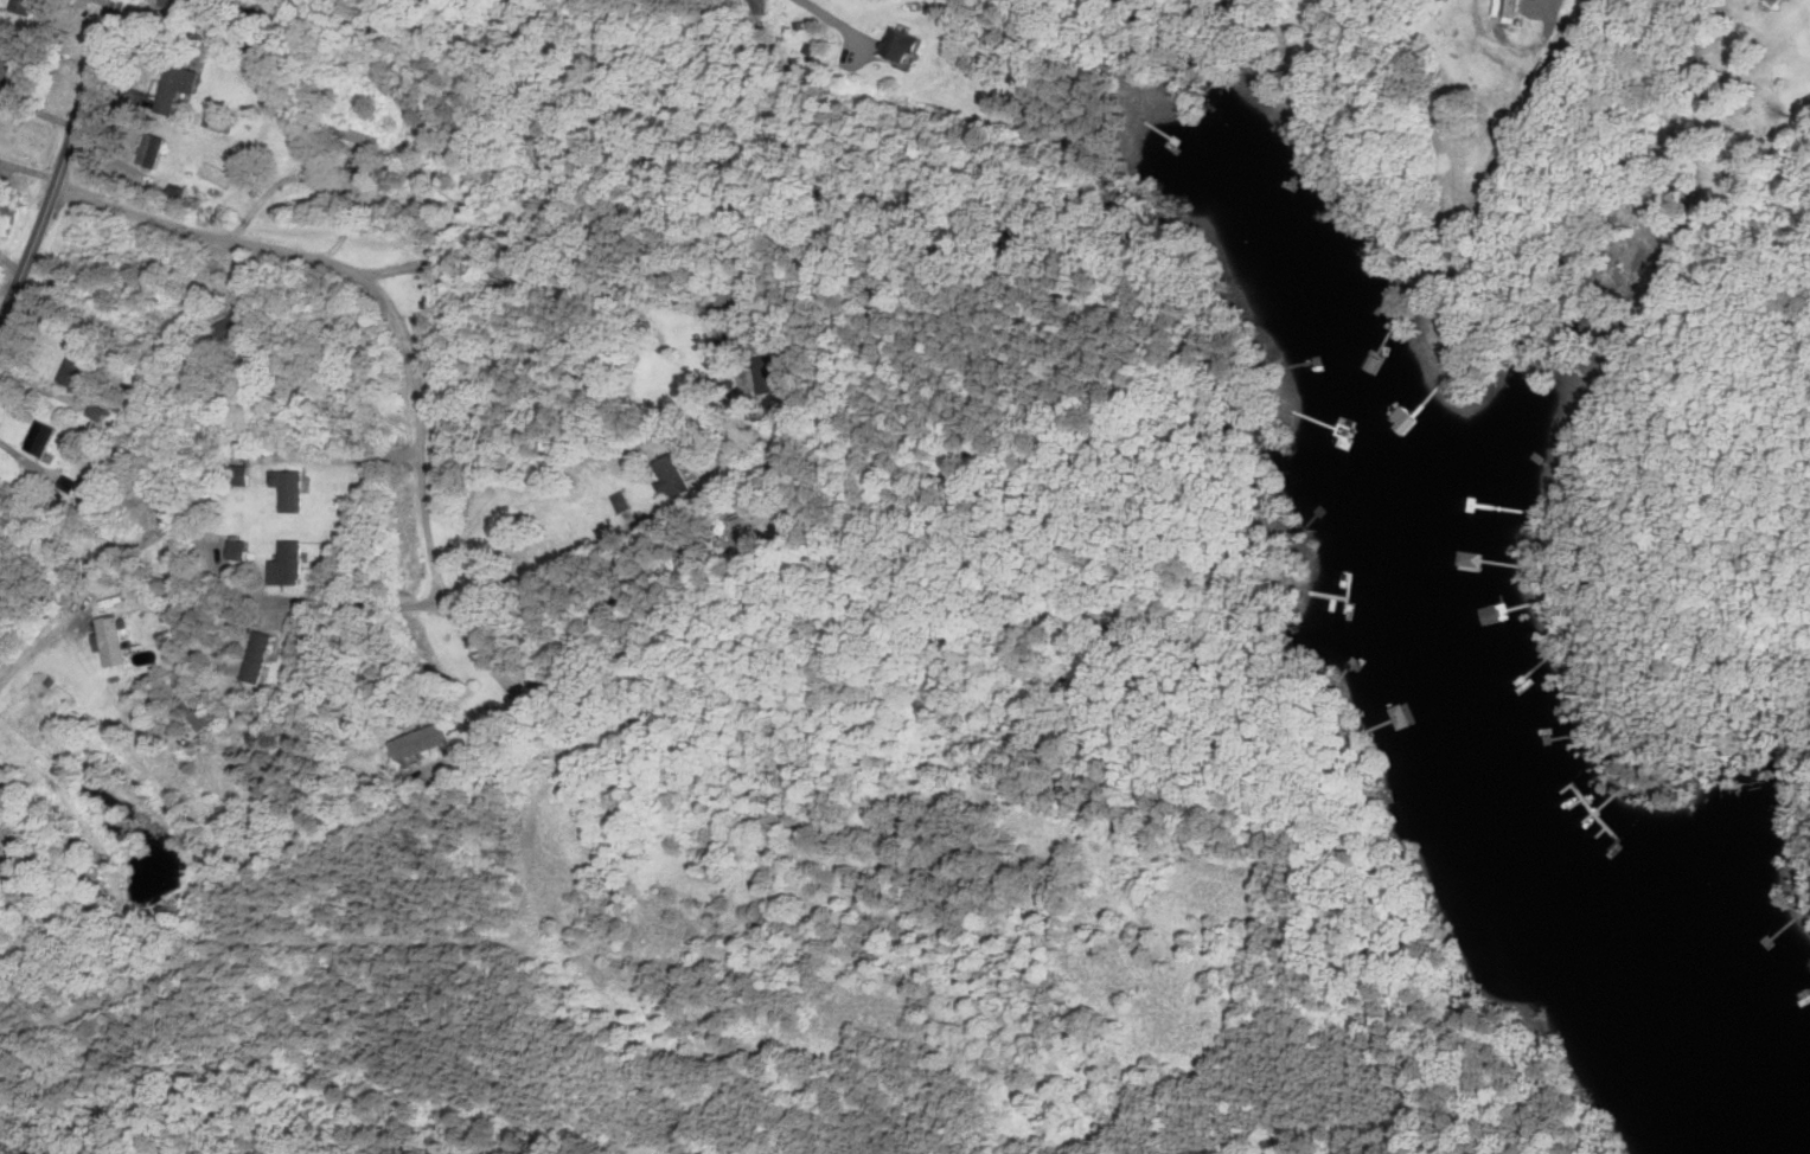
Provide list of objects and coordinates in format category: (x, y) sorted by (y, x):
building: (1770, 2)
building: (28, 7)
building: (1505, 8)
building: (222, 24)
building: (1569, 30)
building: (908, 45)
building: (9, 70)
building: (1541, 81)
building: (183, 88)
building: (222, 123)
building: (362, 137)
building: (156, 150)
road: (64, 167)
road: (312, 171)
building: (180, 197)
road: (545, 275)
building: (239, 326)
road: (404, 338)
building: (77, 370)
building: (757, 377)
building: (44, 437)
building: (241, 475)
building: (677, 476)
building: (294, 488)
building: (242, 550)
road: (575, 551)
building: (293, 563)
road: (357, 603)
building: (299, 626)
building: (116, 640)
road: (37, 647)
building: (263, 655)
building: (1398, 713)
building: (424, 741)
building: (5, 813)

